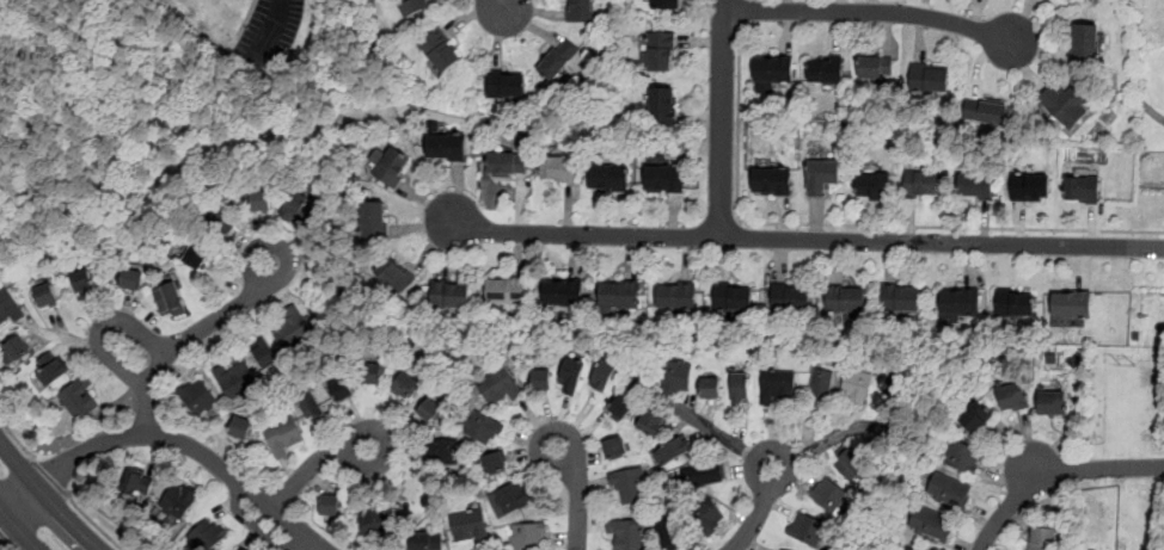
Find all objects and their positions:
building: (664, 4)
building: (415, 6)
road: (502, 7)
building: (581, 11)
road: (743, 11)
road: (871, 12)
road: (276, 24)
building: (1085, 42)
building: (440, 50)
building: (661, 50)
building: (557, 58)
building: (870, 67)
building: (773, 68)
building: (826, 69)
building: (930, 76)
building: (506, 82)
building: (1065, 103)
building: (663, 105)
building: (985, 110)
road: (722, 118)
building: (445, 142)
building: (507, 163)
building: (392, 166)
building: (557, 167)
building: (822, 175)
building: (609, 177)
building: (666, 177)
building: (772, 180)
building: (874, 184)
building: (921, 185)
building: (975, 185)
building: (1030, 186)
building: (1082, 187)
building: (262, 199)
building: (298, 206)
building: (374, 220)
building: (226, 223)
road: (852, 224)
road: (801, 239)
building: (196, 255)
building: (392, 272)
building: (131, 278)
building: (84, 280)
building: (507, 289)
building: (47, 292)
building: (564, 292)
building: (451, 293)
building: (619, 293)
building: (676, 295)
building: (733, 296)
building: (790, 296)
building: (900, 297)
building: (170, 298)
building: (845, 298)
building: (958, 302)
building: (1015, 302)
building: (1071, 303)
building: (8, 307)
road: (100, 328)
building: (292, 329)
road: (189, 335)
building: (16, 348)
building: (265, 353)
power tower: (1126, 364)
building: (53, 367)
building: (372, 375)
building: (604, 375)
building: (571, 376)
building: (675, 376)
building: (237, 378)
building: (541, 378)
building: (892, 383)
building: (404, 384)
building: (777, 384)
building: (856, 384)
building: (820, 385)
building: (498, 387)
building: (740, 387)
building: (710, 388)
building: (341, 389)
building: (1012, 395)
building: (79, 397)
building: (198, 398)
building: (1052, 402)
building: (310, 404)
building: (620, 407)
building: (428, 409)
building: (975, 418)
building: (651, 422)
building: (240, 426)
building: (482, 426)
building: (283, 434)
road: (721, 437)
road: (16, 438)
road: (172, 438)
road: (821, 441)
building: (443, 449)
building: (614, 449)
building: (672, 450)
building: (963, 457)
building: (494, 463)
road: (314, 464)
building: (851, 464)
building: (702, 474)
road: (48, 475)
road: (1055, 475)
building: (137, 483)
building: (419, 487)
building: (630, 487)
building: (949, 490)
road: (576, 493)
building: (828, 494)
road: (47, 498)
building: (511, 498)
building: (178, 500)
building: (330, 503)
road: (758, 511)
building: (706, 515)
road: (4, 518)
building: (375, 518)
road: (92, 523)
building: (931, 524)
road: (19, 526)
building: (468, 527)
building: (805, 527)
building: (666, 532)
building: (626, 533)
building: (206, 534)
building: (527, 536)
road: (4, 537)
building: (1041, 538)
building: (419, 542)
road: (11, 545)
building: (241, 549)
building: (782, 549)
building: (909, 549)

